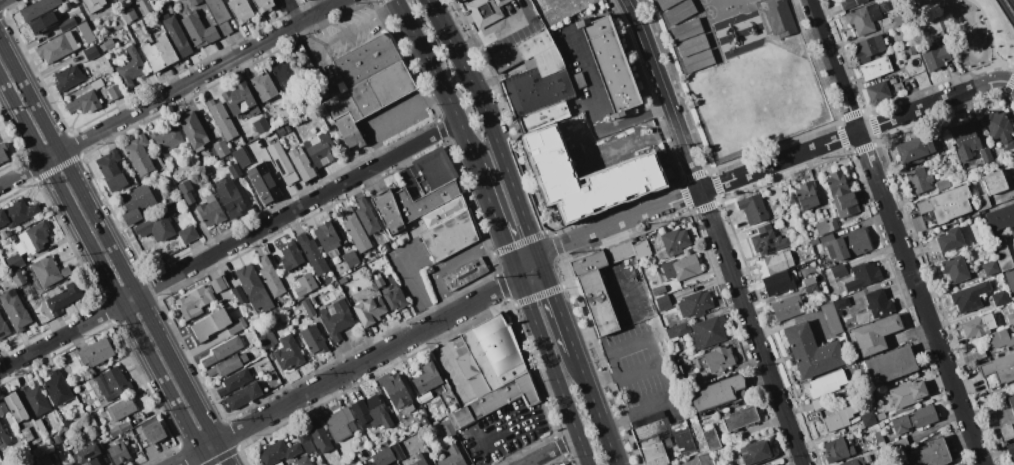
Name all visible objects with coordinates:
building: (115, 0)
building: (120, 0)
building: (305, 1)
park: (703, 1)
park: (751, 1)
building: (195, 2)
building: (665, 3)
building: (851, 3)
building: (93, 4)
park: (729, 4)
building: (111, 5)
building: (263, 5)
railway: (1010, 5)
building: (145, 6)
building: (39, 8)
building: (241, 10)
road: (294, 10)
building: (485, 11)
park: (1006, 11)
road: (1006, 11)
building: (679, 12)
park: (709, 12)
railway: (1005, 13)
building: (129, 14)
building: (220, 15)
building: (779, 18)
building: (863, 19)
building: (45, 21)
building: (898, 21)
road: (976, 21)
building: (67, 24)
building: (686, 29)
building: (197, 30)
road: (349, 30)
road: (488, 30)
parking lot: (348, 31)
building: (86, 32)
park: (971, 33)
building: (176, 34)
road: (990, 37)
building: (108, 45)
building: (692, 45)
building: (57, 48)
building: (868, 48)
building: (912, 50)
building: (91, 52)
building: (159, 53)
building: (935, 56)
building: (365, 60)
building: (698, 60)
building: (609, 63)
building: (131, 67)
building: (875, 68)
building: (285, 75)
building: (534, 76)
building: (69, 77)
road: (439, 81)
building: (97, 84)
road: (1012, 84)
building: (580, 85)
building: (263, 86)
building: (381, 88)
building: (883, 89)
building: (115, 92)
road: (170, 92)
building: (238, 98)
building: (84, 103)
building: (341, 106)
road: (593, 110)
building: (286, 114)
building: (543, 117)
building: (222, 119)
road: (392, 119)
building: (262, 125)
road: (491, 125)
building: (287, 128)
building: (193, 130)
building: (348, 130)
building: (281, 131)
building: (1000, 131)
building: (167, 139)
building: (965, 139)
building: (220, 148)
building: (320, 149)
building: (914, 150)
building: (3, 152)
building: (985, 154)
building: (139, 155)
building: (240, 157)
building: (998, 159)
building: (282, 162)
building: (301, 164)
building: (435, 167)
building: (634, 167)
road: (760, 169)
building: (111, 170)
building: (235, 170)
building: (918, 180)
building: (263, 182)
building: (994, 182)
building: (942, 185)
building: (186, 191)
building: (842, 195)
building: (807, 196)
building: (436, 197)
building: (231, 198)
building: (983, 200)
building: (137, 203)
building: (943, 206)
road: (297, 208)
building: (752, 208)
building: (394, 209)
building: (211, 211)
building: (444, 211)
building: (17, 212)
building: (366, 216)
building: (1000, 217)
road: (498, 220)
building: (826, 225)
building: (156, 227)
building: (356, 231)
road: (715, 231)
road: (895, 232)
building: (187, 234)
building: (450, 236)
building: (327, 238)
building: (32, 239)
building: (949, 239)
building: (768, 241)
building: (1013, 242)
building: (672, 243)
building: (846, 244)
building: (346, 245)
building: (642, 249)
building: (620, 252)
road: (113, 253)
building: (1002, 253)
building: (312, 254)
building: (291, 257)
building: (351, 258)
building: (15, 261)
road: (447, 262)
building: (589, 262)
building: (774, 263)
building: (824, 263)
building: (681, 267)
building: (954, 267)
building: (991, 267)
building: (838, 270)
building: (49, 271)
road: (104, 271)
building: (465, 274)
building: (863, 275)
building: (18, 277)
building: (311, 279)
building: (330, 279)
building: (1010, 279)
building: (272, 280)
building: (342, 280)
building: (808, 281)
building: (379, 282)
building: (778, 283)
building: (219, 284)
building: (671, 286)
building: (254, 288)
building: (811, 288)
building: (295, 289)
building: (659, 289)
road: (416, 290)
building: (239, 294)
building: (970, 296)
building: (64, 297)
building: (395, 298)
building: (1000, 298)
road: (128, 299)
building: (194, 302)
building: (663, 302)
building: (598, 303)
building: (695, 303)
building: (842, 303)
building: (879, 303)
road: (559, 305)
building: (308, 307)
building: (786, 308)
building: (15, 310)
building: (369, 310)
building: (839, 313)
building: (337, 318)
building: (831, 318)
building: (1010, 318)
building: (210, 324)
road: (606, 324)
building: (237, 325)
building: (978, 325)
building: (3, 329)
building: (677, 331)
building: (708, 332)
road: (583, 333)
building: (876, 334)
road: (60, 335)
building: (268, 339)
building: (313, 339)
building: (1000, 339)
building: (223, 350)
building: (812, 350)
building: (96, 352)
building: (288, 353)
building: (979, 355)
road: (656, 357)
building: (719, 358)
road: (367, 359)
building: (495, 365)
building: (891, 365)
building: (227, 366)
road: (554, 369)
road: (638, 370)
parking lot: (639, 371)
building: (998, 371)
building: (691, 377)
building: (427, 378)
road: (603, 379)
building: (234, 381)
building: (112, 383)
building: (827, 383)
building: (58, 387)
building: (442, 388)
building: (396, 391)
building: (719, 393)
building: (243, 395)
building: (904, 395)
building: (427, 396)
building: (35, 399)
building: (1011, 402)
building: (818, 403)
building: (3, 407)
building: (16, 407)
building: (121, 409)
road: (598, 409)
building: (371, 412)
building: (880, 416)
building: (650, 417)
building: (840, 417)
building: (740, 418)
building: (867, 418)
road: (616, 419)
building: (424, 420)
building: (915, 420)
building: (340, 421)
building: (881, 424)
building: (126, 426)
building: (41, 427)
building: (153, 429)
building: (447, 429)
building: (115, 430)
building: (1007, 431)
building: (318, 435)
building: (400, 435)
building: (3, 436)
building: (28, 436)
building: (57, 439)
building: (712, 439)
building: (879, 439)
building: (305, 440)
building: (664, 441)
building: (383, 444)
building: (898, 445)
road: (207, 446)
road: (479, 450)
road: (552, 450)
building: (836, 450)
building: (1010, 450)
building: (397, 451)
building: (119, 452)
building: (277, 452)
building: (756, 452)
building: (929, 454)
building: (89, 455)
building: (449, 455)
building: (383, 456)
road: (185, 457)
building: (46, 459)
building: (705, 459)
building: (418, 460)
building: (303, 461)
building: (858, 461)
building: (69, 464)
building: (372, 464)
building: (561, 464)
building: (772, 464)

